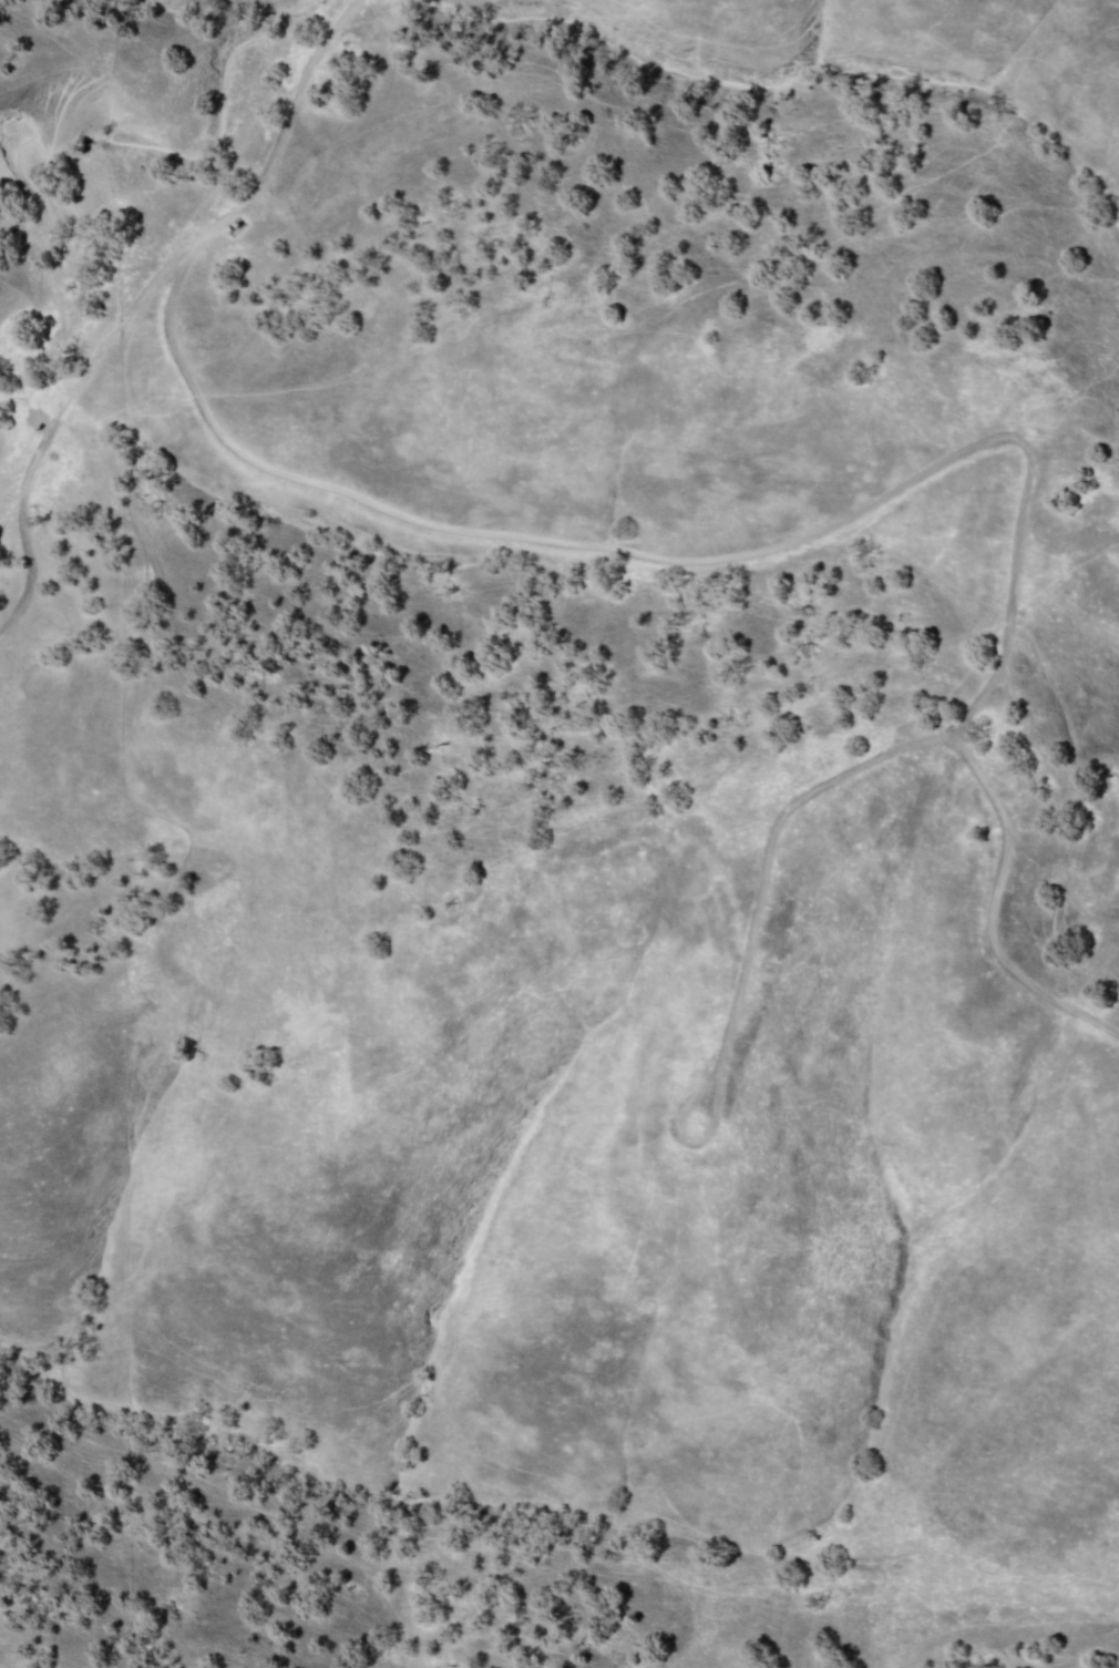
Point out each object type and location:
storage tank: (239, 226)
road: (144, 301)

